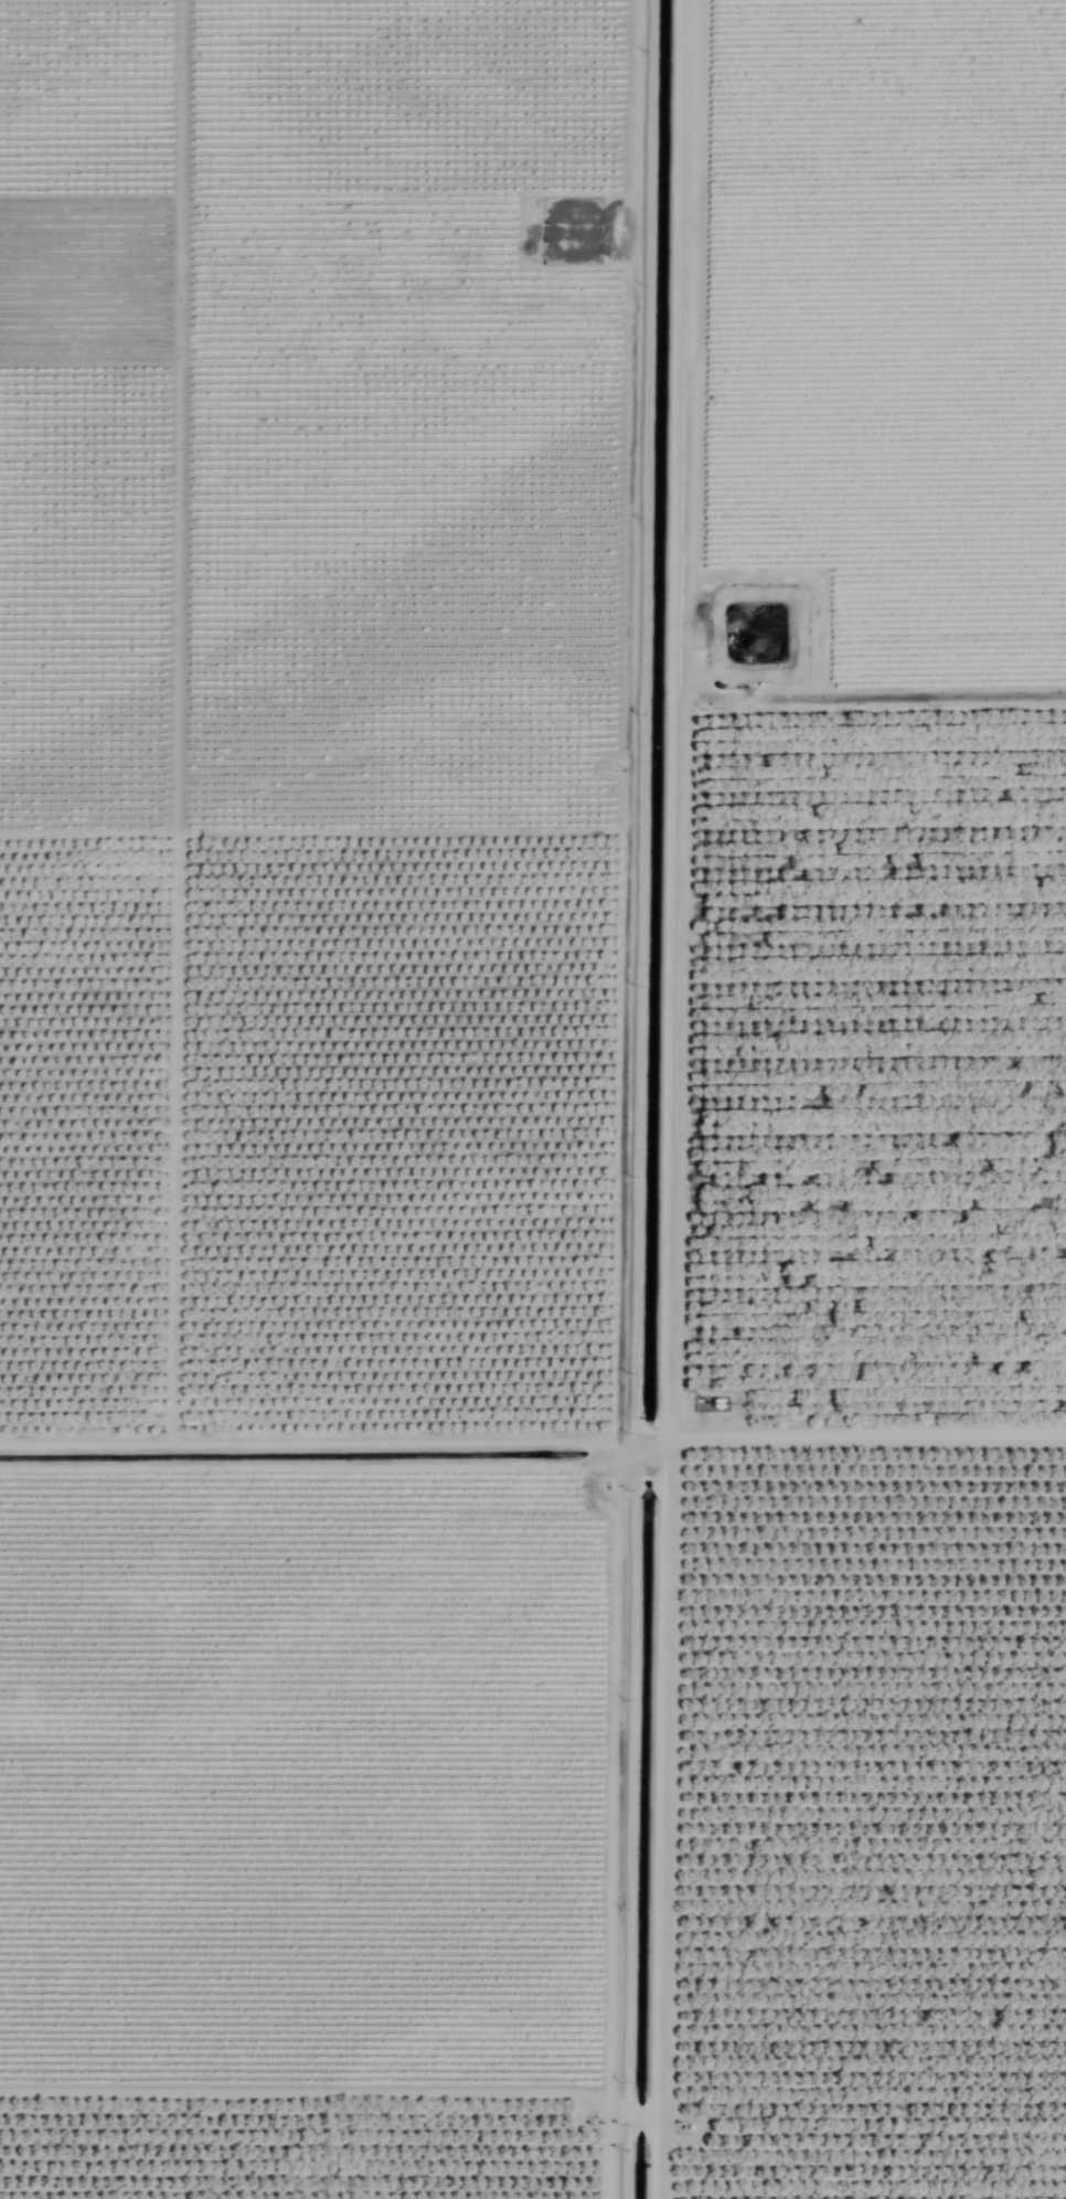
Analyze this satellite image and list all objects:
road: (896, 1446)

